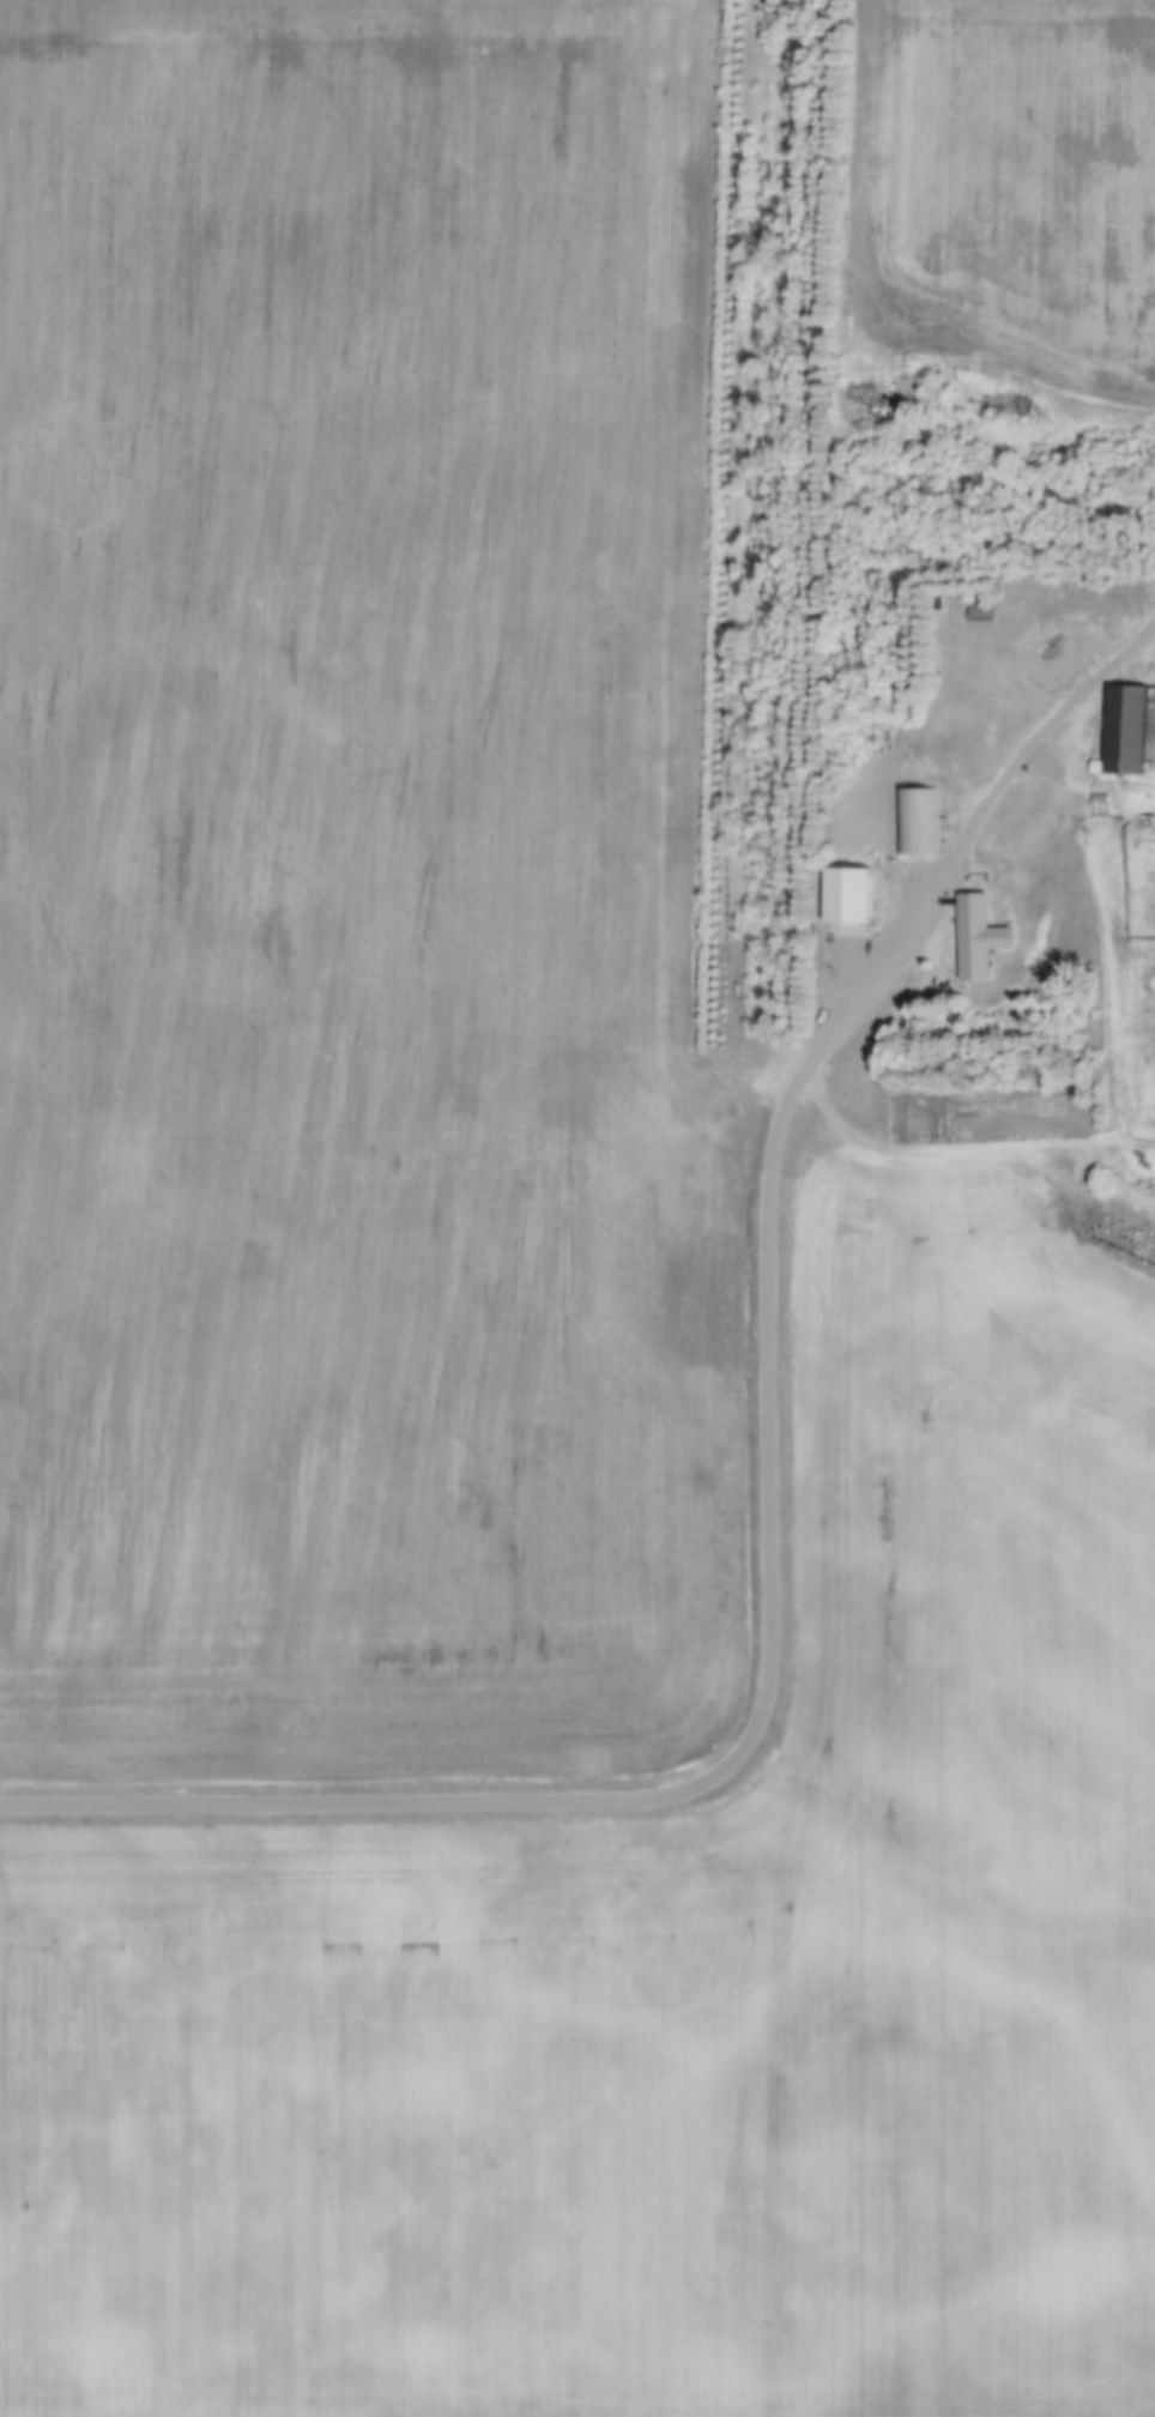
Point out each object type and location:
building: (990, 610)
building: (1075, 652)
building: (1118, 719)
building: (915, 808)
building: (846, 880)
building: (875, 914)
building: (985, 936)
road: (766, 1495)

